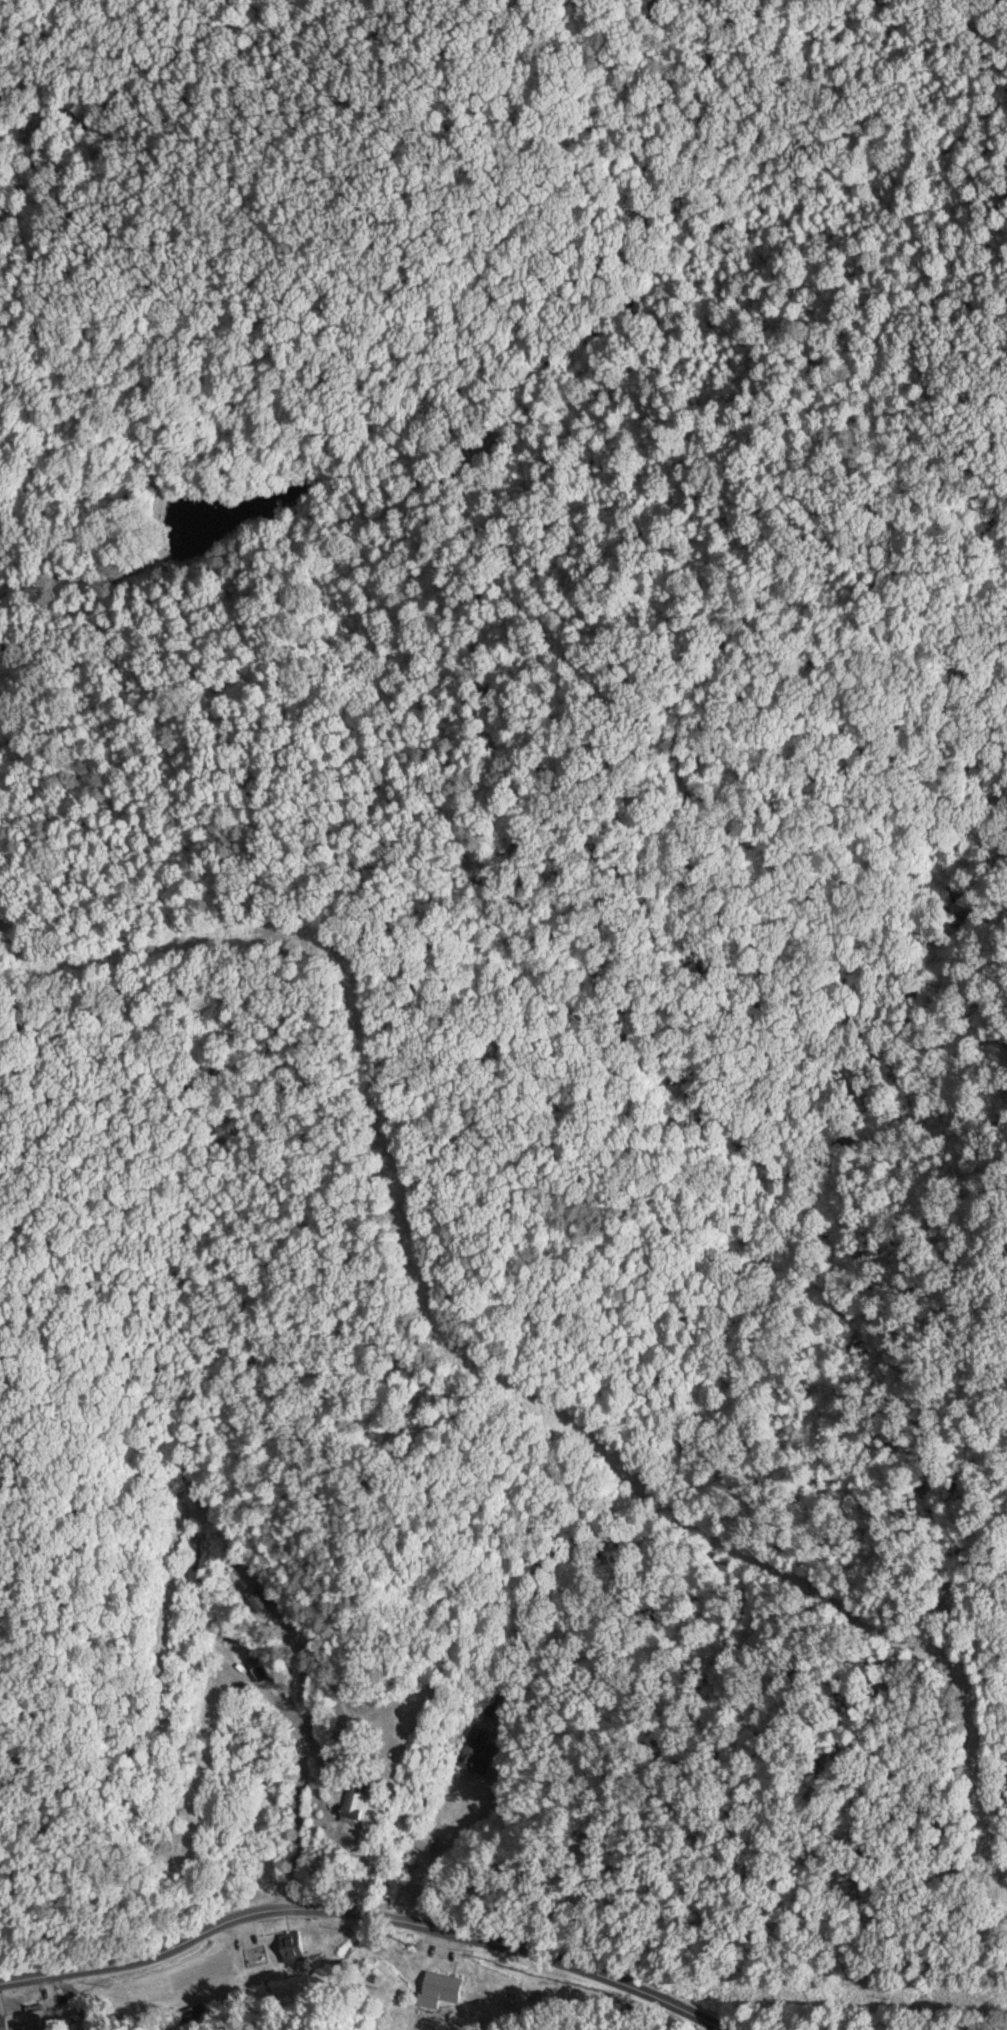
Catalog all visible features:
building: (254, 1600)
building: (491, 1709)
building: (477, 1752)
building: (348, 1809)
building: (423, 1840)
road: (362, 1916)
building: (290, 1946)
building: (441, 1986)
building: (188, 2015)
building: (38, 2018)
building: (4, 2022)

